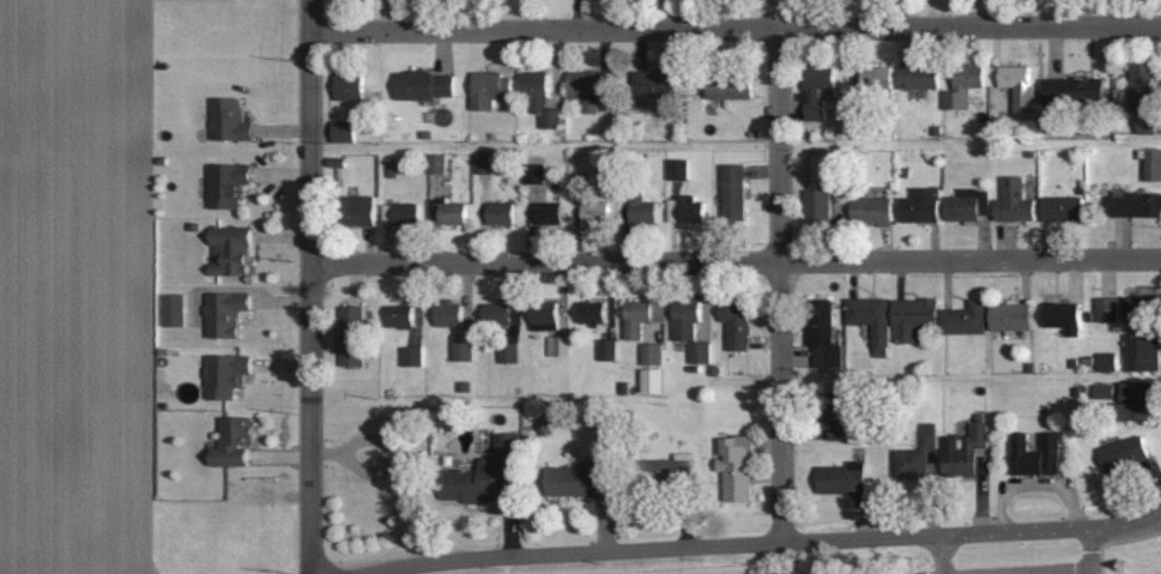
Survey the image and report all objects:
road: (736, 29)
building: (921, 75)
building: (877, 78)
building: (658, 83)
building: (427, 85)
building: (732, 85)
building: (965, 85)
building: (351, 86)
building: (589, 87)
building: (491, 90)
building: (1020, 90)
building: (818, 91)
building: (1147, 96)
building: (542, 97)
building: (230, 120)
building: (344, 132)
building: (437, 163)
building: (1153, 163)
building: (484, 164)
building: (678, 169)
building: (536, 174)
building: (580, 182)
building: (230, 185)
building: (734, 193)
building: (1016, 201)
building: (821, 205)
building: (969, 205)
building: (1137, 205)
building: (921, 206)
building: (646, 207)
building: (1064, 209)
building: (361, 210)
building: (687, 210)
building: (873, 210)
building: (449, 212)
building: (399, 213)
building: (501, 213)
building: (549, 213)
building: (595, 213)
building: (232, 252)
road: (736, 262)
road: (779, 270)
road: (310, 288)
building: (175, 309)
building: (1141, 309)
building: (1107, 310)
building: (228, 313)
building: (593, 313)
building: (451, 314)
building: (498, 315)
building: (1014, 315)
building: (642, 316)
building: (1064, 316)
building: (403, 318)
building: (545, 318)
building: (915, 318)
building: (967, 319)
building: (872, 321)
building: (738, 322)
building: (691, 331)
building: (824, 334)
building: (353, 337)
building: (558, 345)
building: (464, 348)
building: (609, 350)
building: (509, 352)
building: (1142, 352)
building: (653, 354)
building: (412, 356)
building: (1107, 362)
building: (228, 375)
building: (654, 381)
building: (1106, 392)
building: (1141, 399)
building: (838, 417)
building: (236, 443)
building: (966, 449)
building: (1126, 454)
building: (1038, 455)
building: (917, 457)
building: (739, 466)
building: (672, 471)
building: (490, 473)
building: (581, 478)
building: (845, 478)
road: (763, 542)
road: (1089, 550)
road: (937, 554)
road: (1014, 568)

